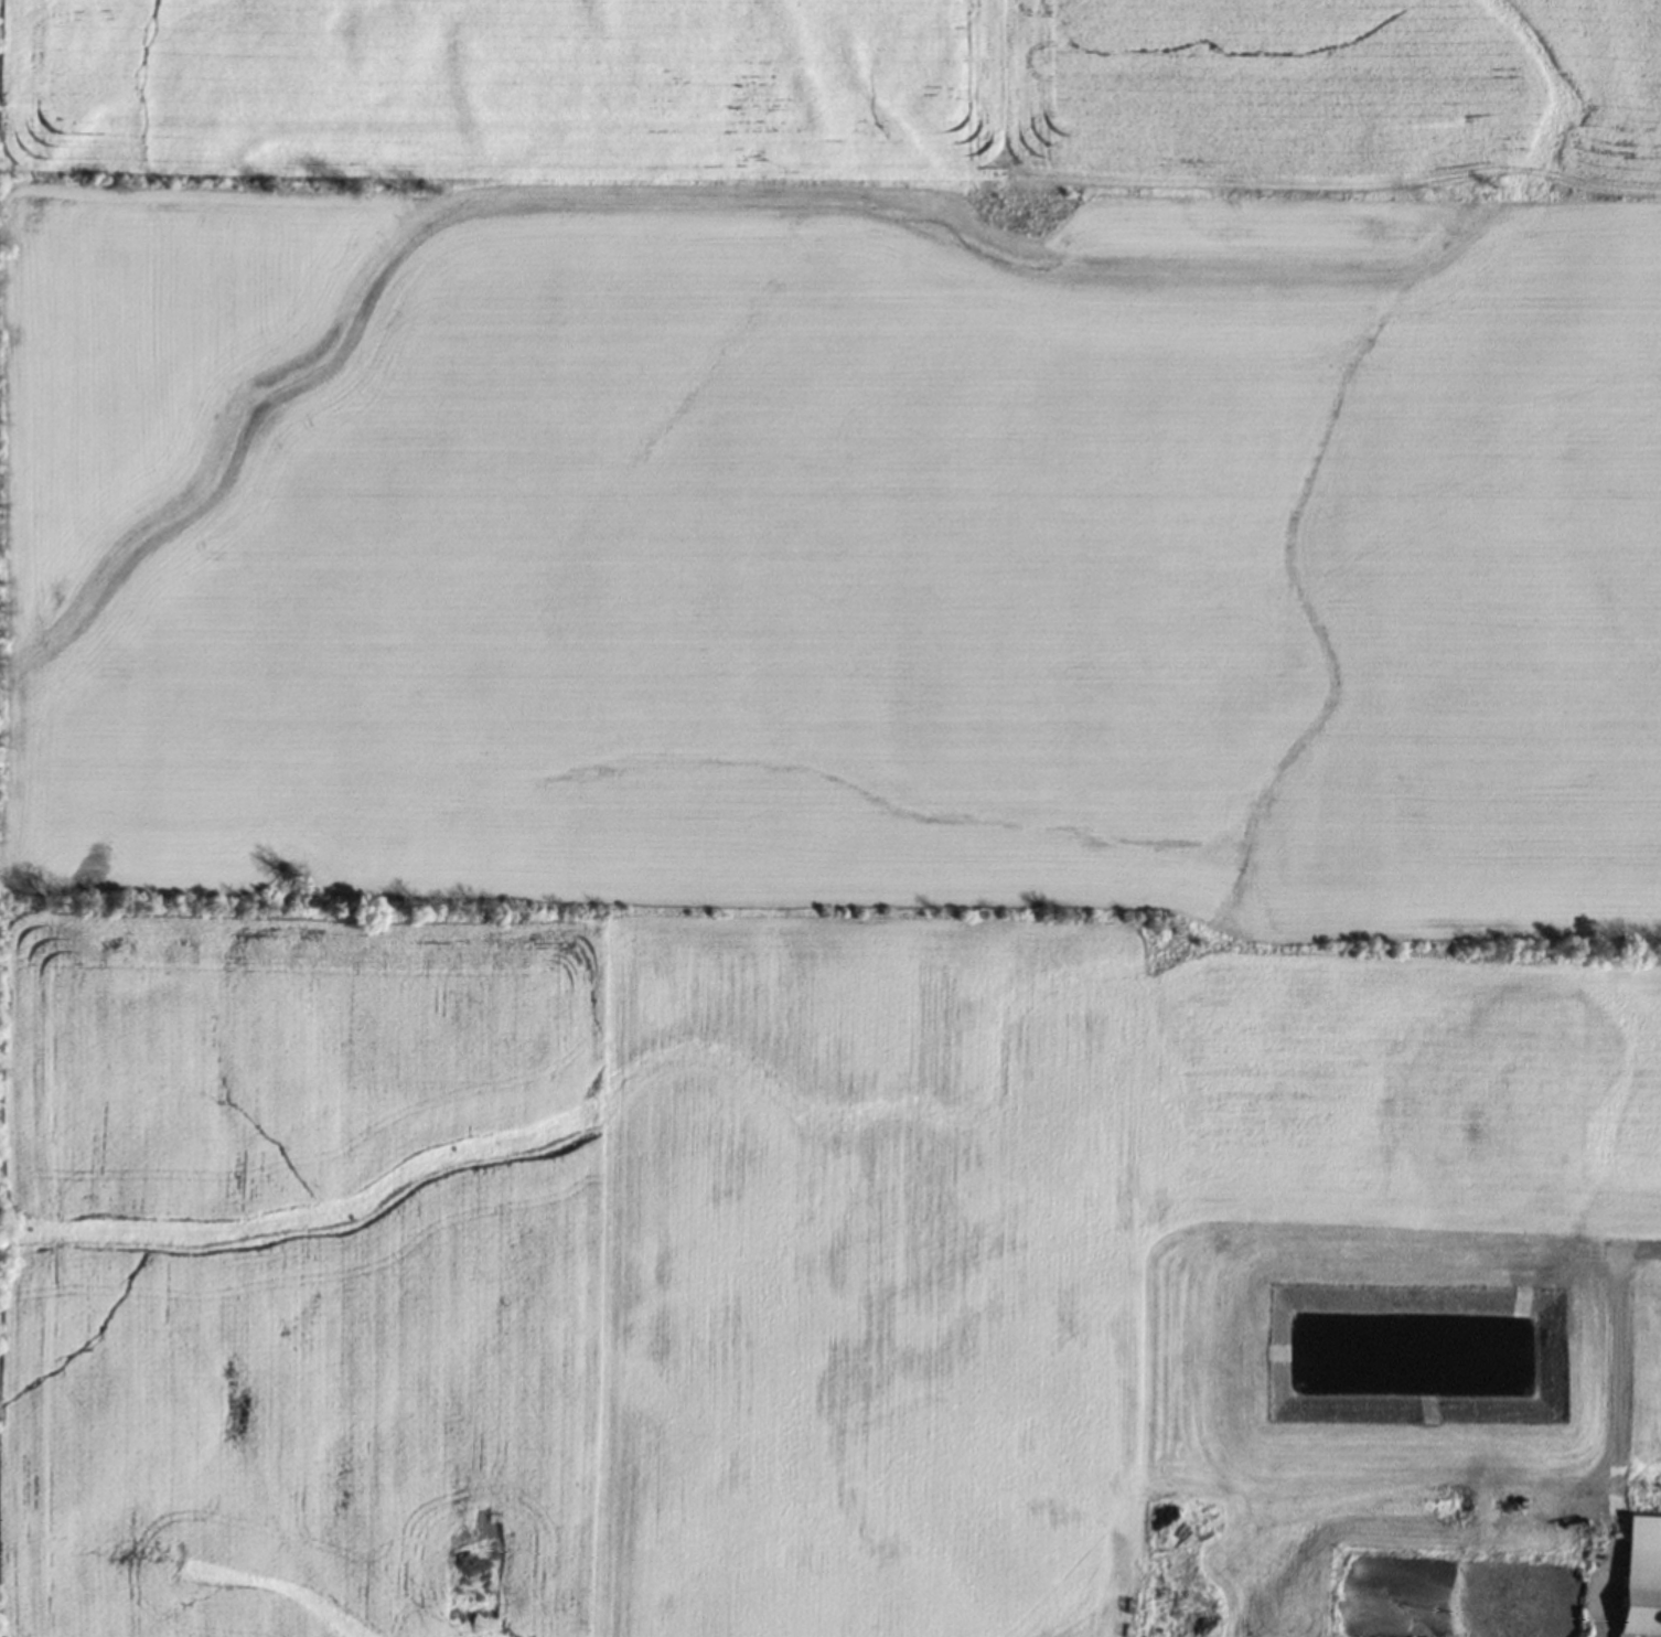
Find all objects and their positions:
building: (1638, 1594)

